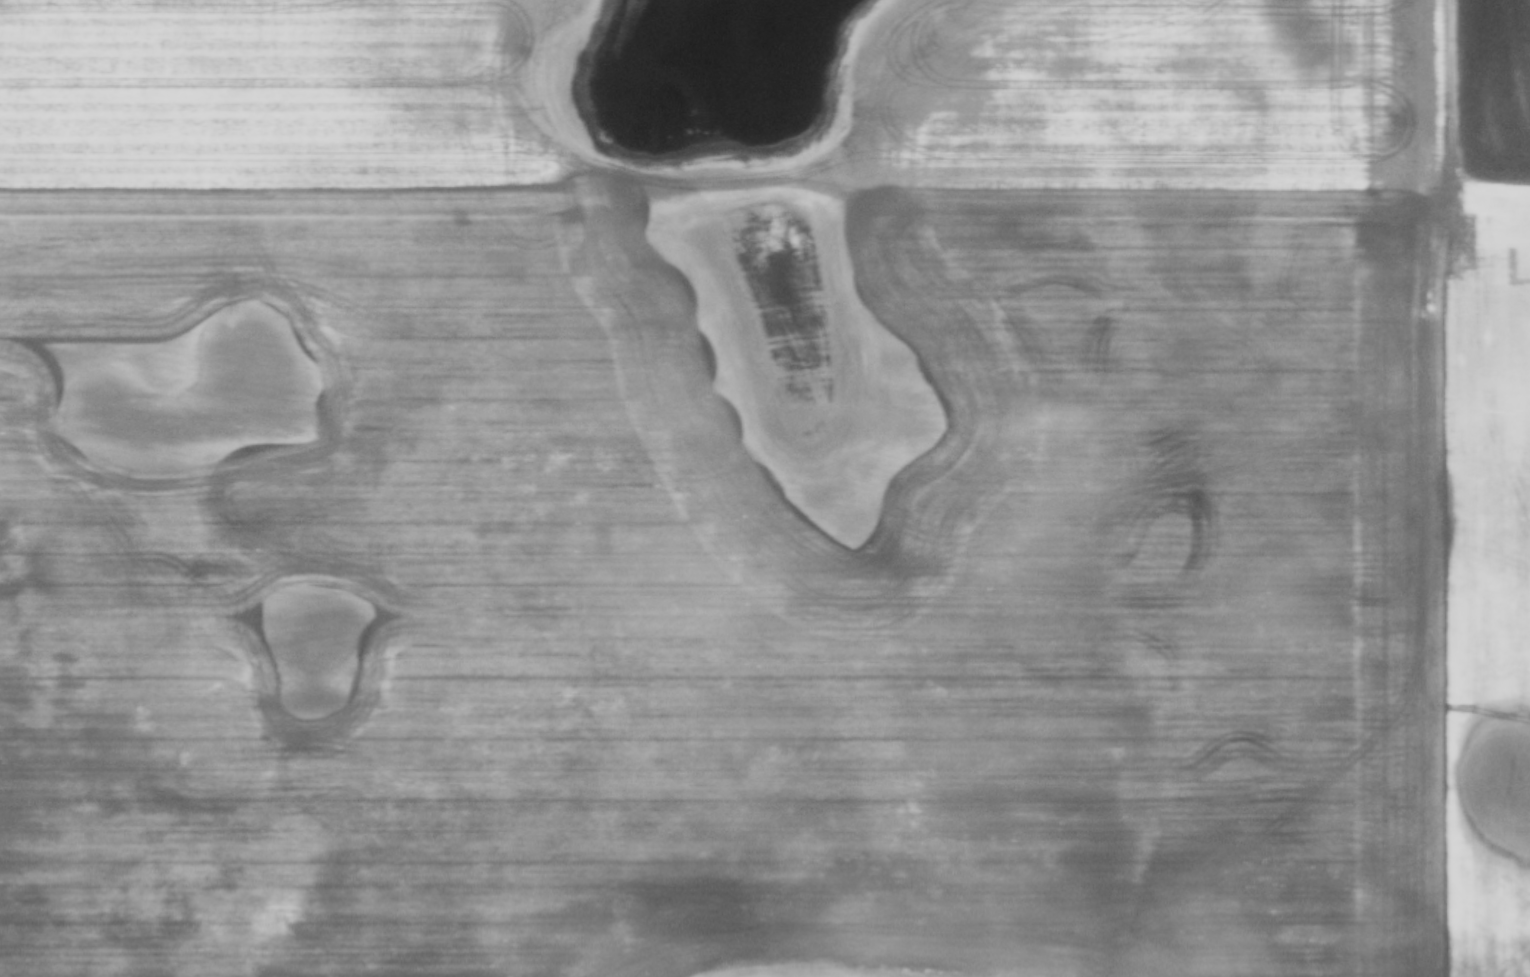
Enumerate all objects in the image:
road: (1451, 121)

